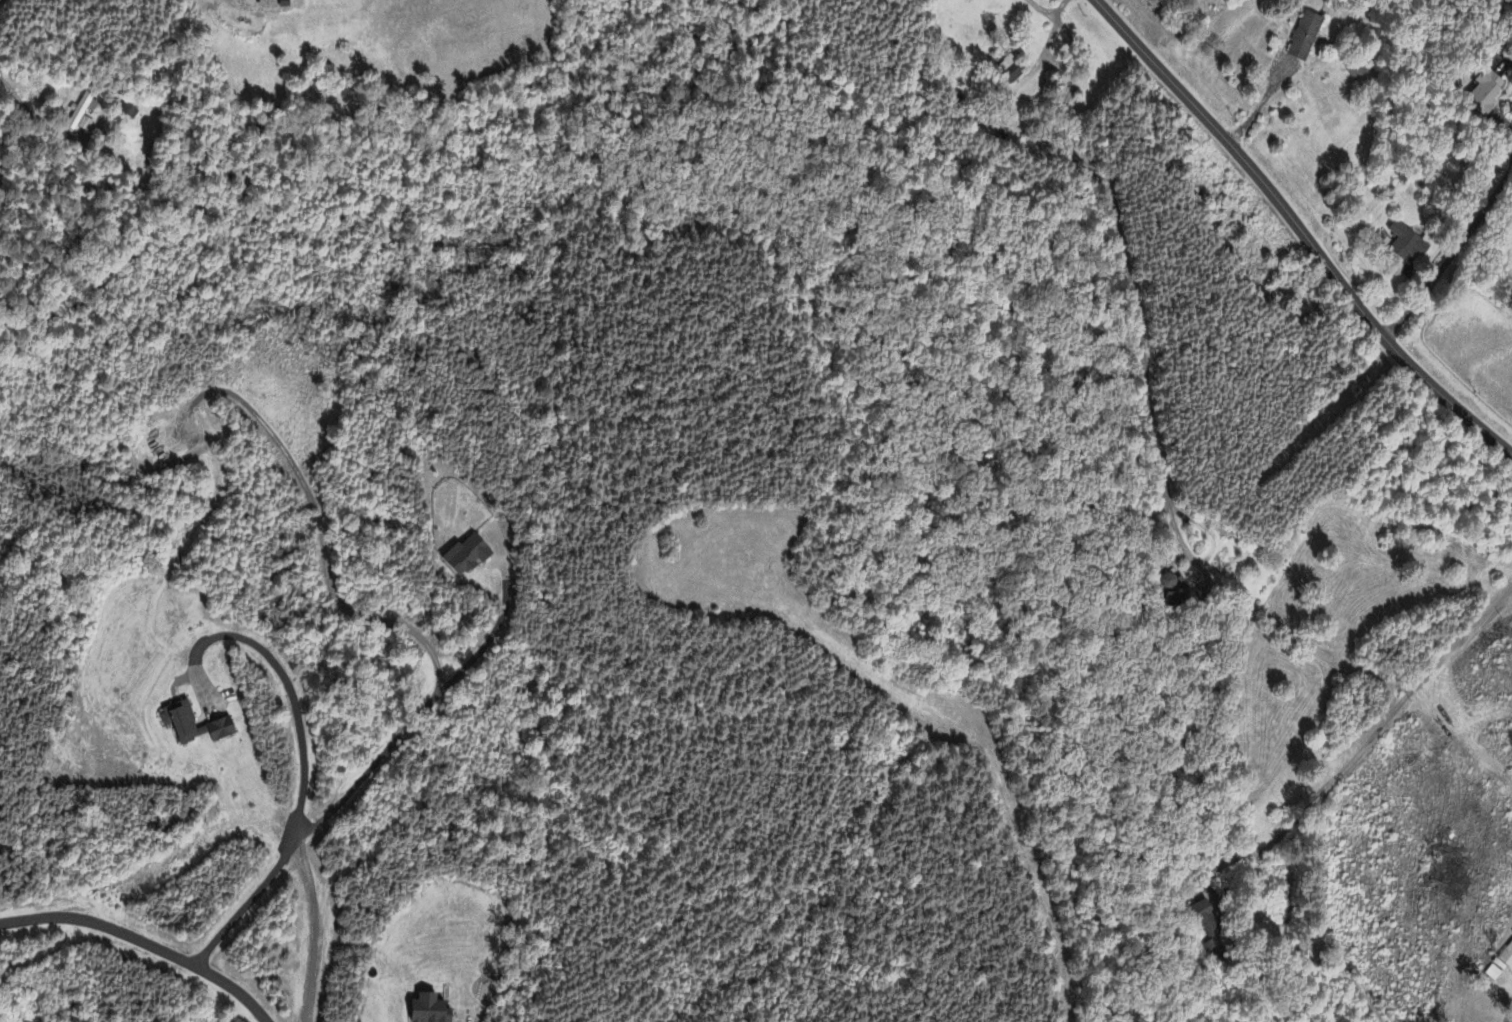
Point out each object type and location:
road: (1043, 12)
building: (1305, 38)
road: (1035, 63)
building: (1011, 70)
building: (1356, 73)
building: (1487, 92)
building: (82, 109)
road: (32, 115)
road: (1503, 123)
building: (85, 125)
road: (1299, 230)
road: (1121, 241)
building: (1408, 243)
road: (1449, 258)
road: (1408, 282)
road: (322, 549)
building: (469, 556)
road: (1205, 559)
road: (438, 692)
road: (1382, 725)
building: (195, 726)
road: (301, 759)
building: (1209, 931)
road: (144, 943)
building: (1507, 958)
building: (433, 1011)
road: (464, 1019)

